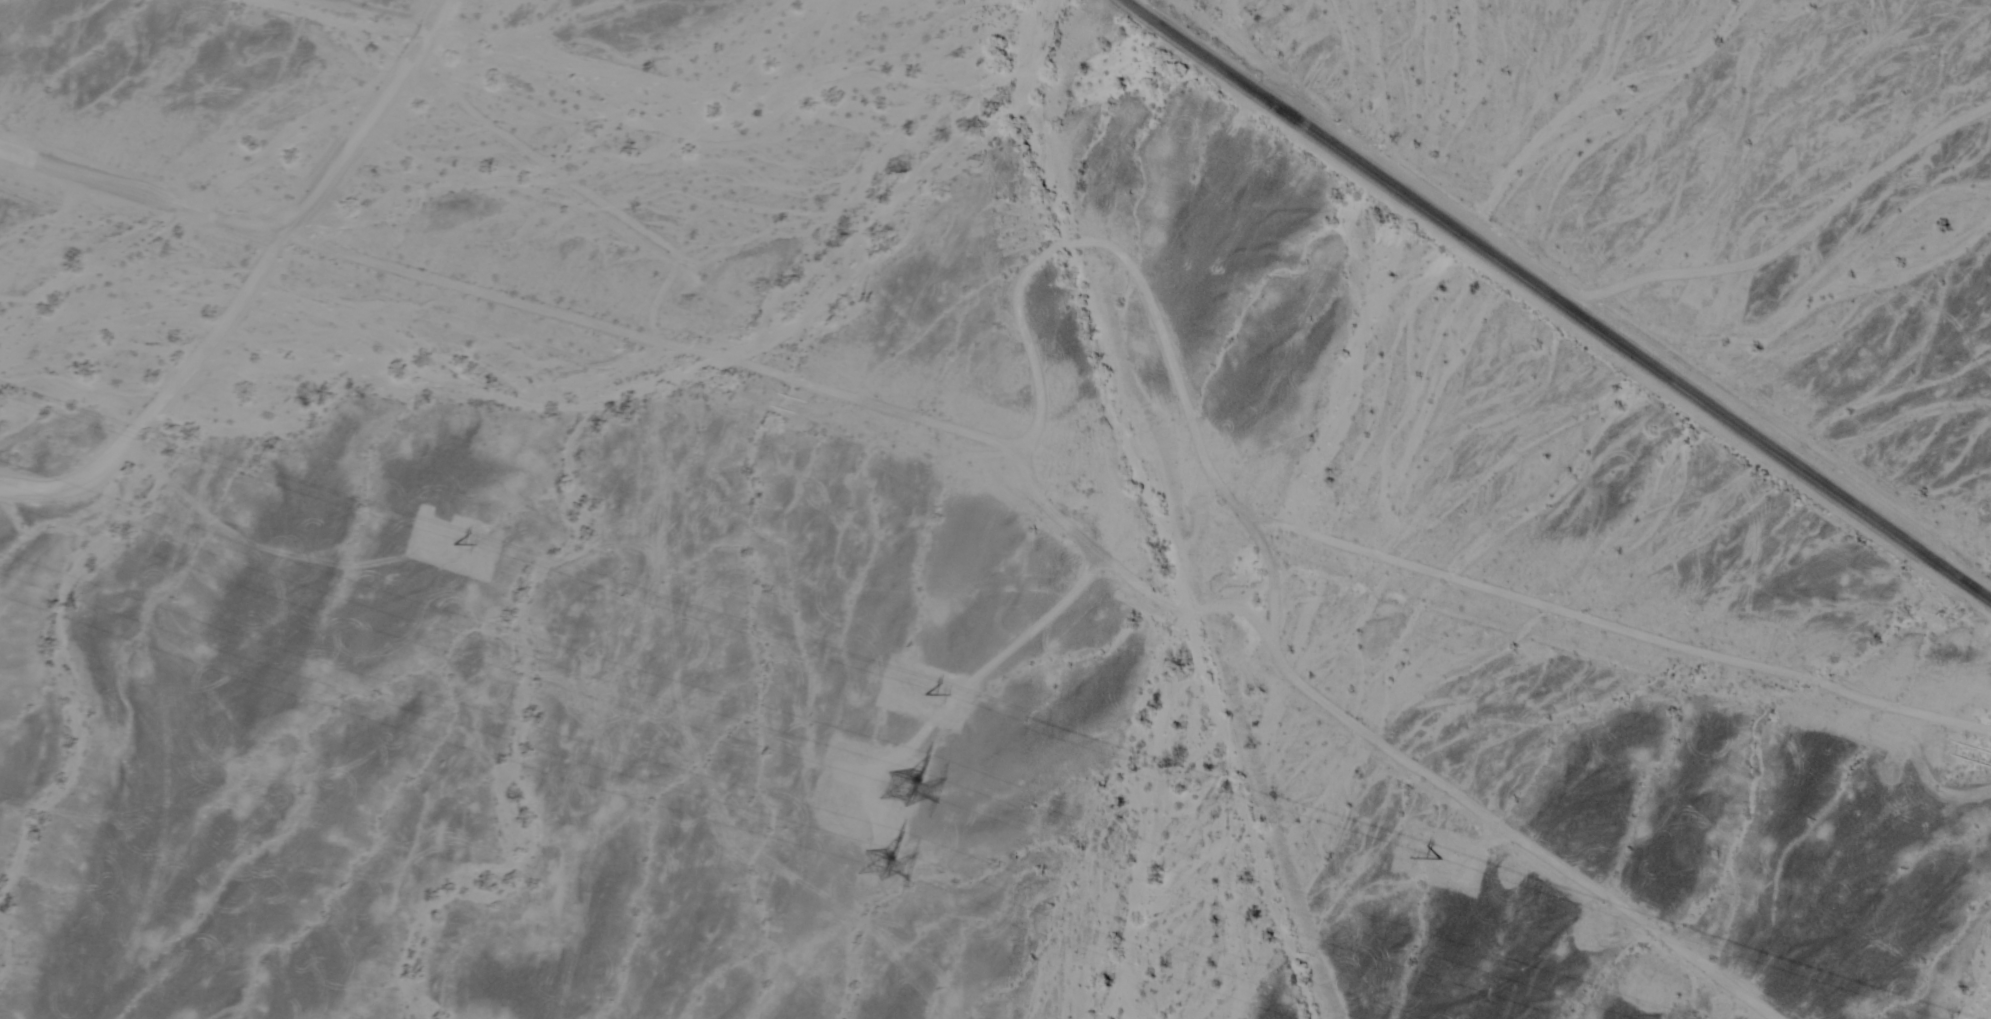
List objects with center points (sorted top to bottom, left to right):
road: (138, 192)
road: (247, 278)
road: (1557, 299)
power tower: (880, 781)
power tower: (858, 860)

